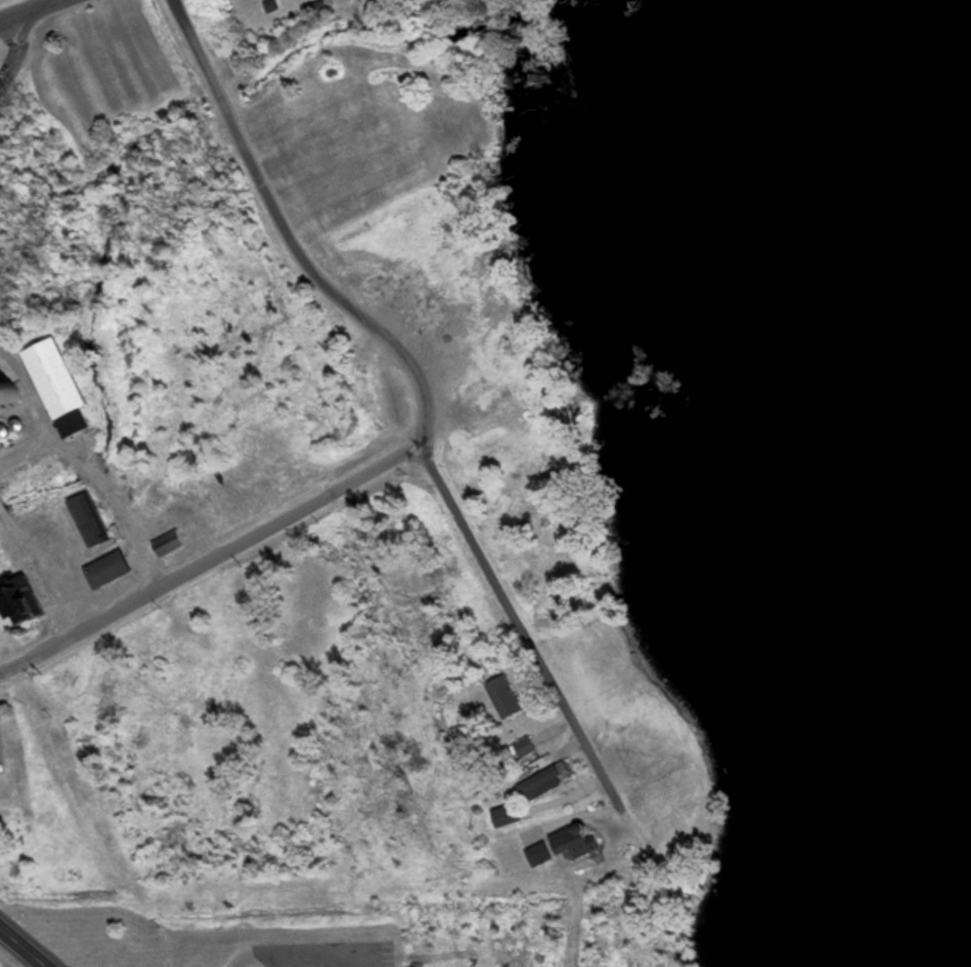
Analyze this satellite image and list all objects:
park: (3, 1)
road: (29, 11)
road: (18, 51)
road: (294, 248)
building: (57, 386)
building: (10, 392)
building: (89, 519)
building: (171, 543)
road: (208, 558)
building: (108, 569)
building: (17, 595)
road: (521, 625)
building: (505, 696)
building: (526, 748)
building: (542, 783)
building: (509, 815)
building: (564, 845)
road: (23, 947)

